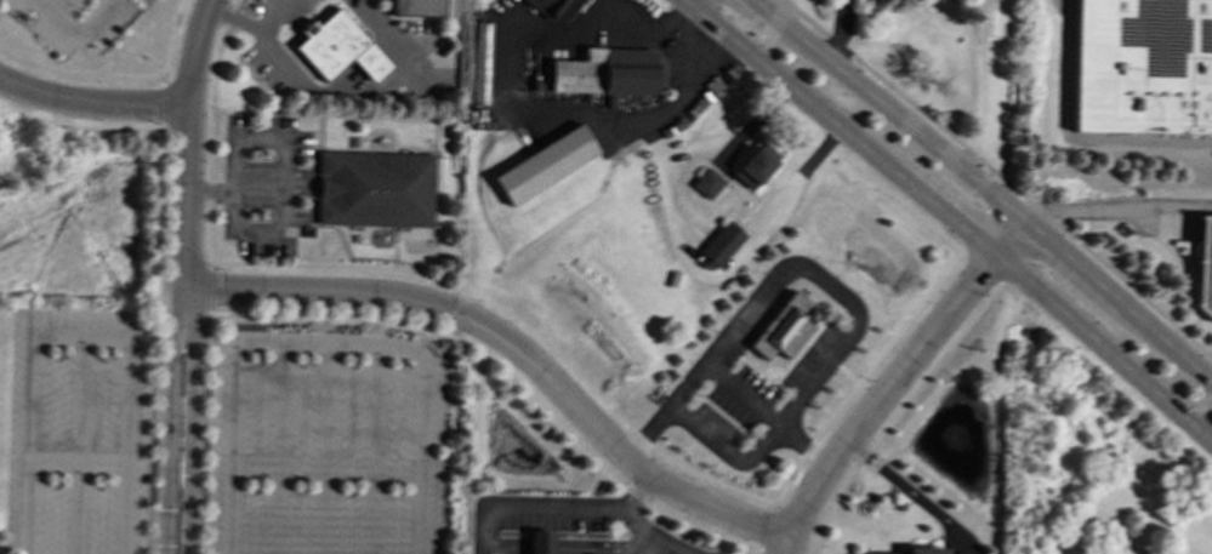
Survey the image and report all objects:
building: (545, 6)
building: (419, 7)
road: (273, 15)
road: (72, 30)
road: (263, 30)
road: (963, 30)
road: (979, 30)
road: (383, 32)
road: (837, 33)
road: (169, 42)
parking lot: (275, 44)
building: (337, 47)
building: (480, 62)
building: (1145, 67)
building: (607, 72)
road: (78, 74)
road: (348, 80)
road: (376, 88)
road: (92, 104)
road: (159, 104)
road: (975, 116)
road: (79, 124)
road: (211, 128)
road: (1072, 137)
road: (187, 141)
road: (284, 153)
building: (544, 164)
building: (753, 164)
road: (1000, 176)
building: (706, 183)
building: (374, 188)
road: (985, 188)
road: (1116, 206)
road: (948, 218)
building: (719, 244)
road: (683, 253)
road: (334, 265)
road: (980, 265)
building: (1204, 267)
road: (207, 290)
road: (318, 291)
road: (837, 293)
road: (399, 319)
road: (905, 322)
building: (783, 326)
road: (80, 332)
road: (329, 341)
road: (892, 378)
road: (740, 392)
road: (903, 404)
road: (169, 418)
road: (192, 418)
parking lot: (222, 438)
road: (610, 440)
road: (29, 442)
road: (76, 442)
road: (125, 442)
road: (802, 442)
road: (231, 446)
road: (278, 446)
road: (326, 447)
road: (371, 447)
road: (421, 453)
road: (698, 473)
road: (911, 493)
road: (551, 508)
road: (654, 515)
road: (635, 519)
road: (636, 524)
road: (478, 530)
road: (618, 533)
road: (647, 541)
building: (539, 542)
road: (614, 547)
road: (769, 549)
building: (914, 550)
building: (1159, 553)
building: (1160, 553)

